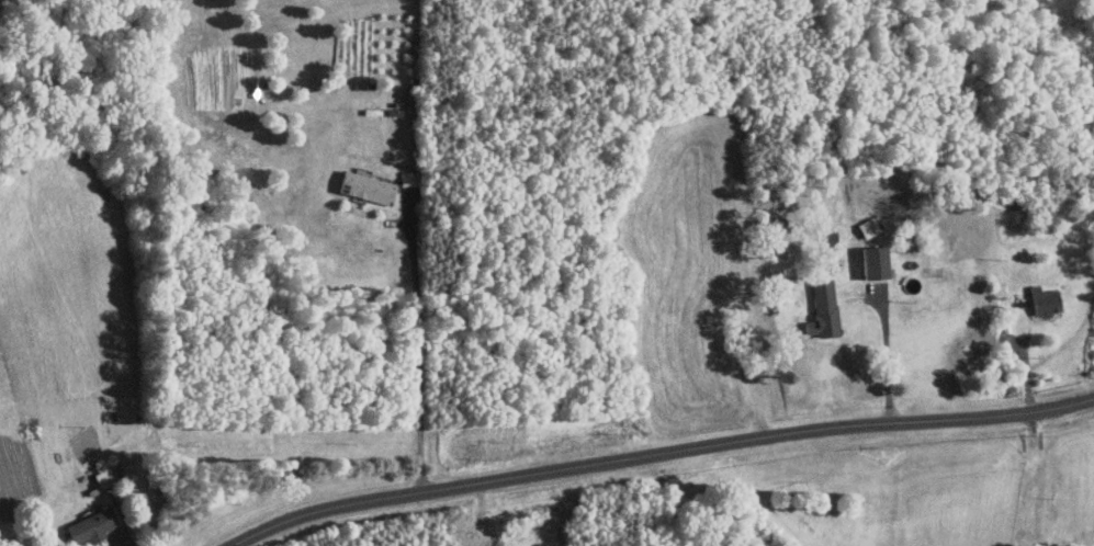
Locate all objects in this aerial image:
building: (364, 187)
building: (828, 238)
building: (870, 262)
building: (1042, 300)
building: (821, 309)
road: (419, 350)
road: (1025, 360)
road: (889, 361)
road: (658, 454)
building: (87, 526)

